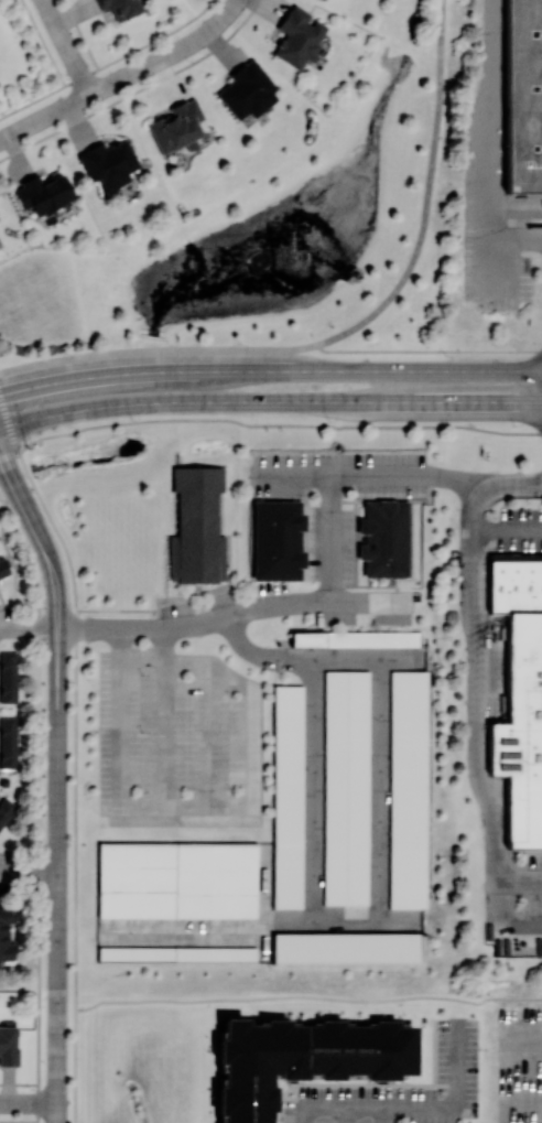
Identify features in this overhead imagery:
building: (120, 8)
building: (297, 36)
road: (67, 47)
road: (124, 77)
building: (247, 90)
building: (523, 95)
building: (176, 127)
road: (497, 142)
building: (108, 163)
building: (43, 193)
road: (425, 197)
road: (521, 247)
fountain: (250, 268)
road: (156, 350)
road: (427, 350)
road: (383, 370)
road: (112, 375)
road: (269, 402)
road: (267, 424)
road: (369, 478)
building: (202, 526)
road: (507, 533)
road: (328, 540)
building: (389, 541)
building: (279, 544)
building: (2, 565)
building: (516, 583)
road: (204, 622)
building: (358, 641)
road: (313, 657)
building: (8, 677)
road: (478, 702)
road: (164, 715)
building: (522, 731)
road: (209, 735)
building: (8, 742)
road: (75, 752)
road: (57, 785)
building: (347, 785)
road: (312, 789)
road: (380, 789)
building: (411, 789)
building: (288, 797)
road: (204, 803)
building: (6, 809)
road: (29, 873)
road: (520, 876)
building: (177, 879)
road: (261, 922)
building: (6, 933)
building: (348, 947)
building: (175, 953)
road: (310, 997)
building: (8, 1045)
building: (301, 1059)
road: (536, 1098)
road: (29, 1103)
road: (414, 1105)
road: (344, 1114)
road: (382, 1114)

